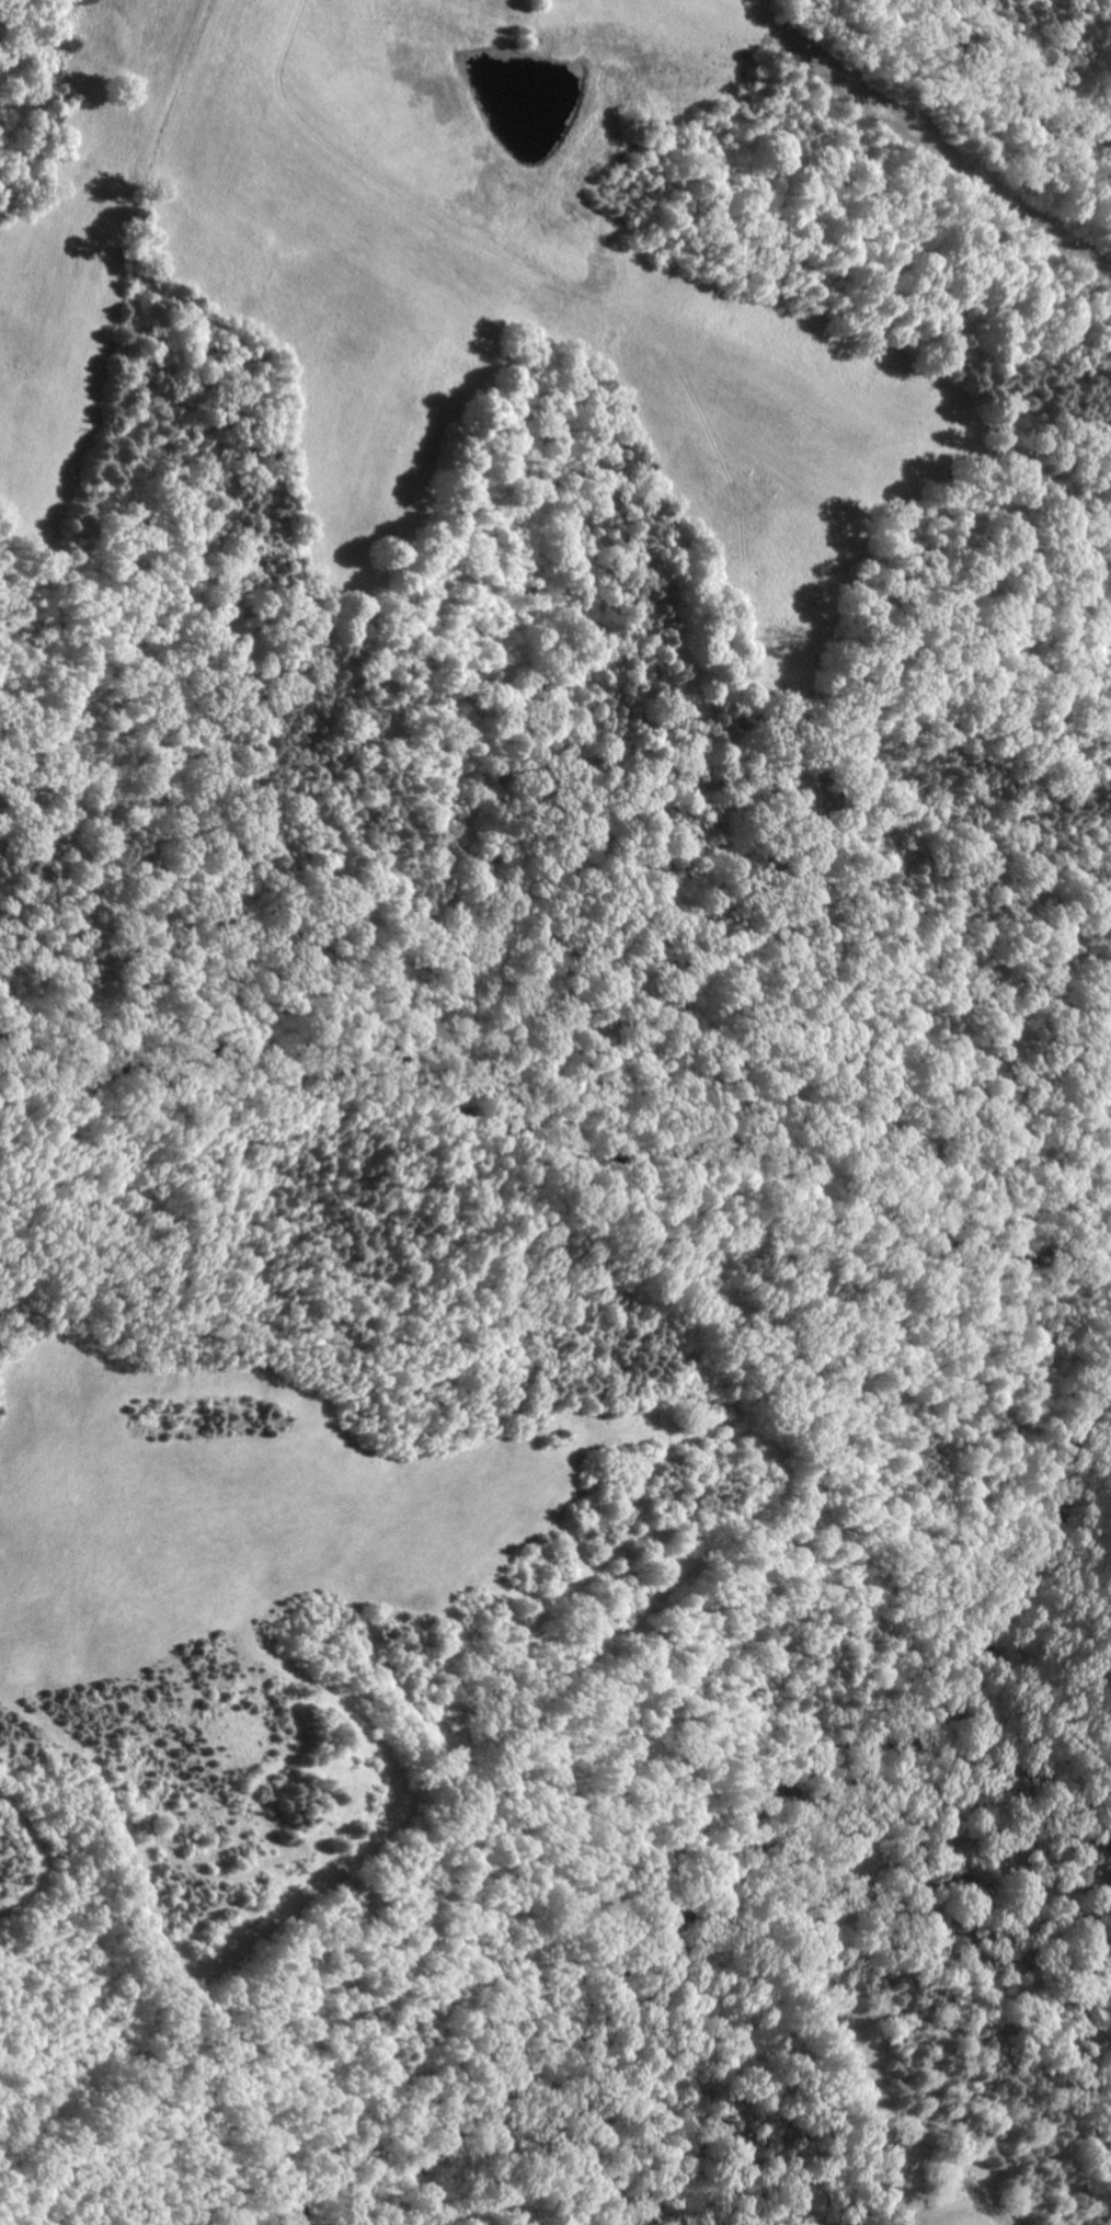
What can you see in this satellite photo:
road: (998, 96)

